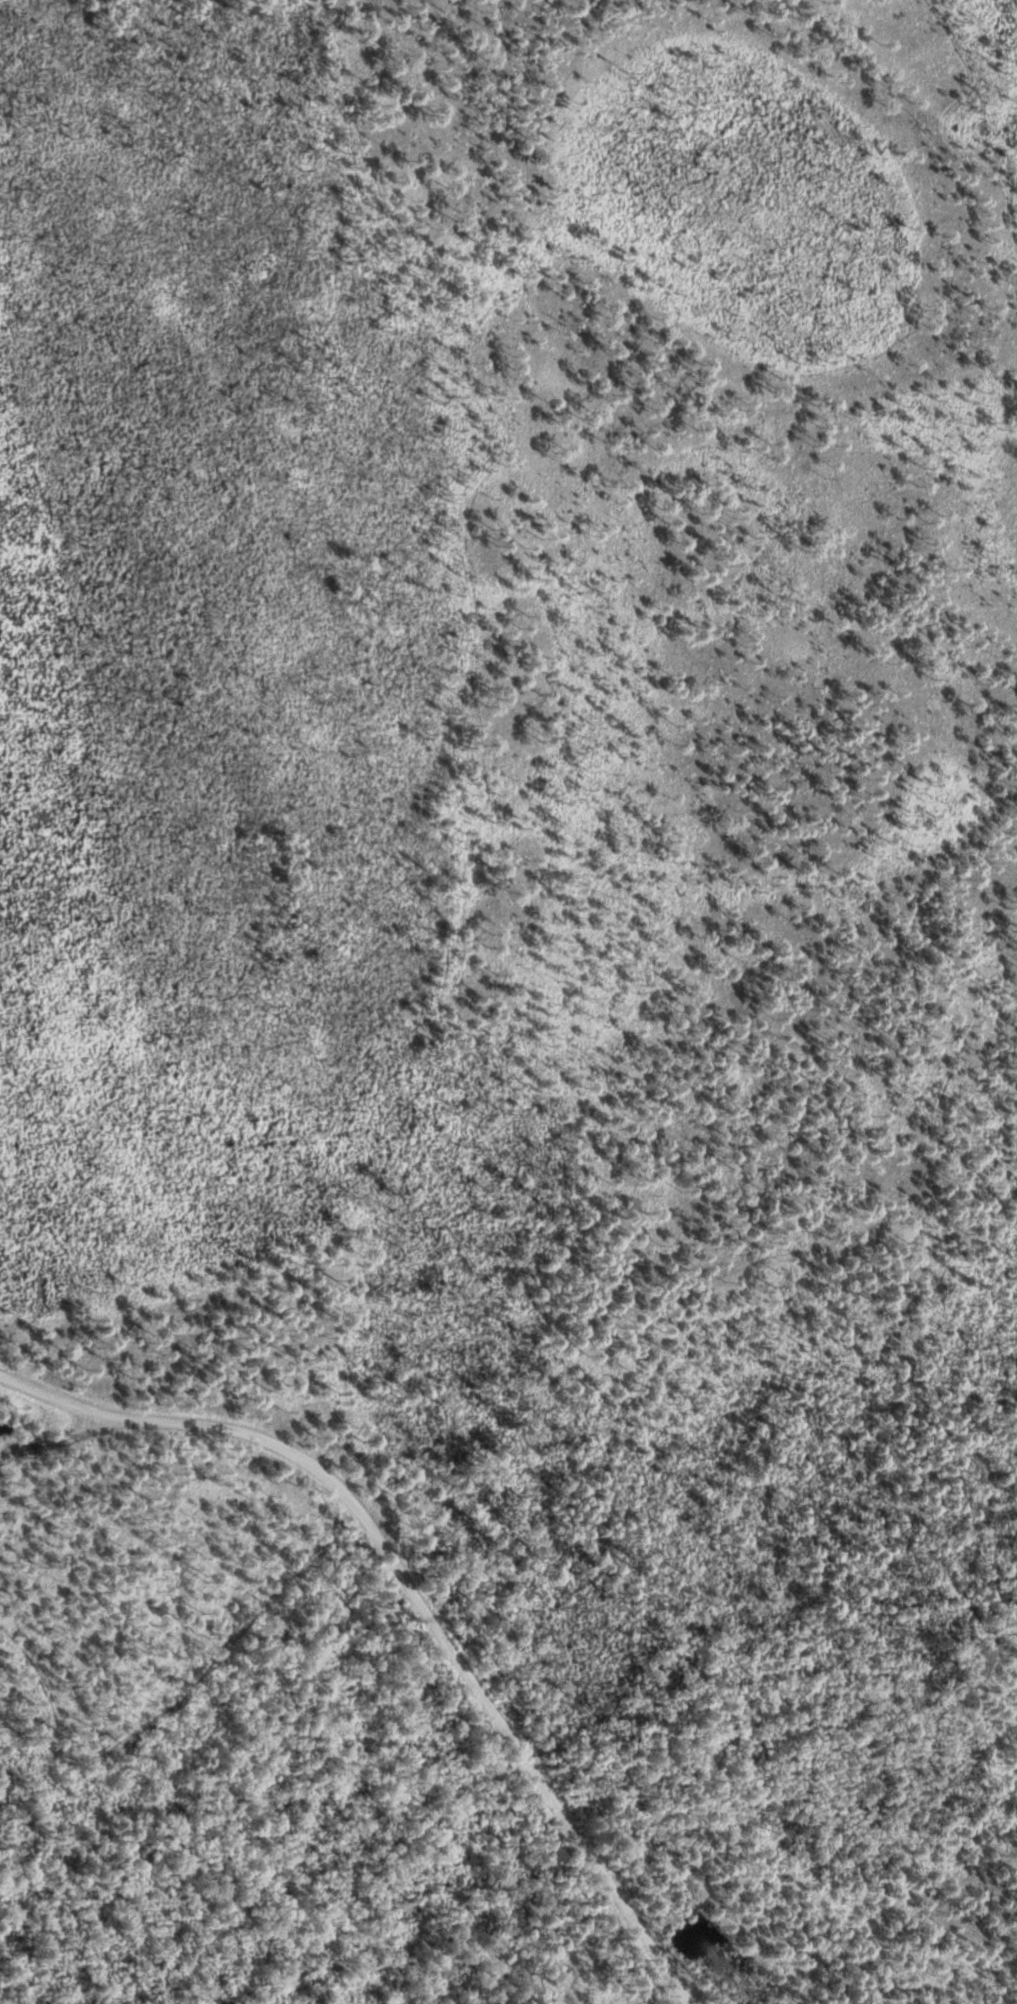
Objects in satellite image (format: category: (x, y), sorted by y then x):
road: (53, 1396)
road: (55, 1437)
road: (447, 1641)

